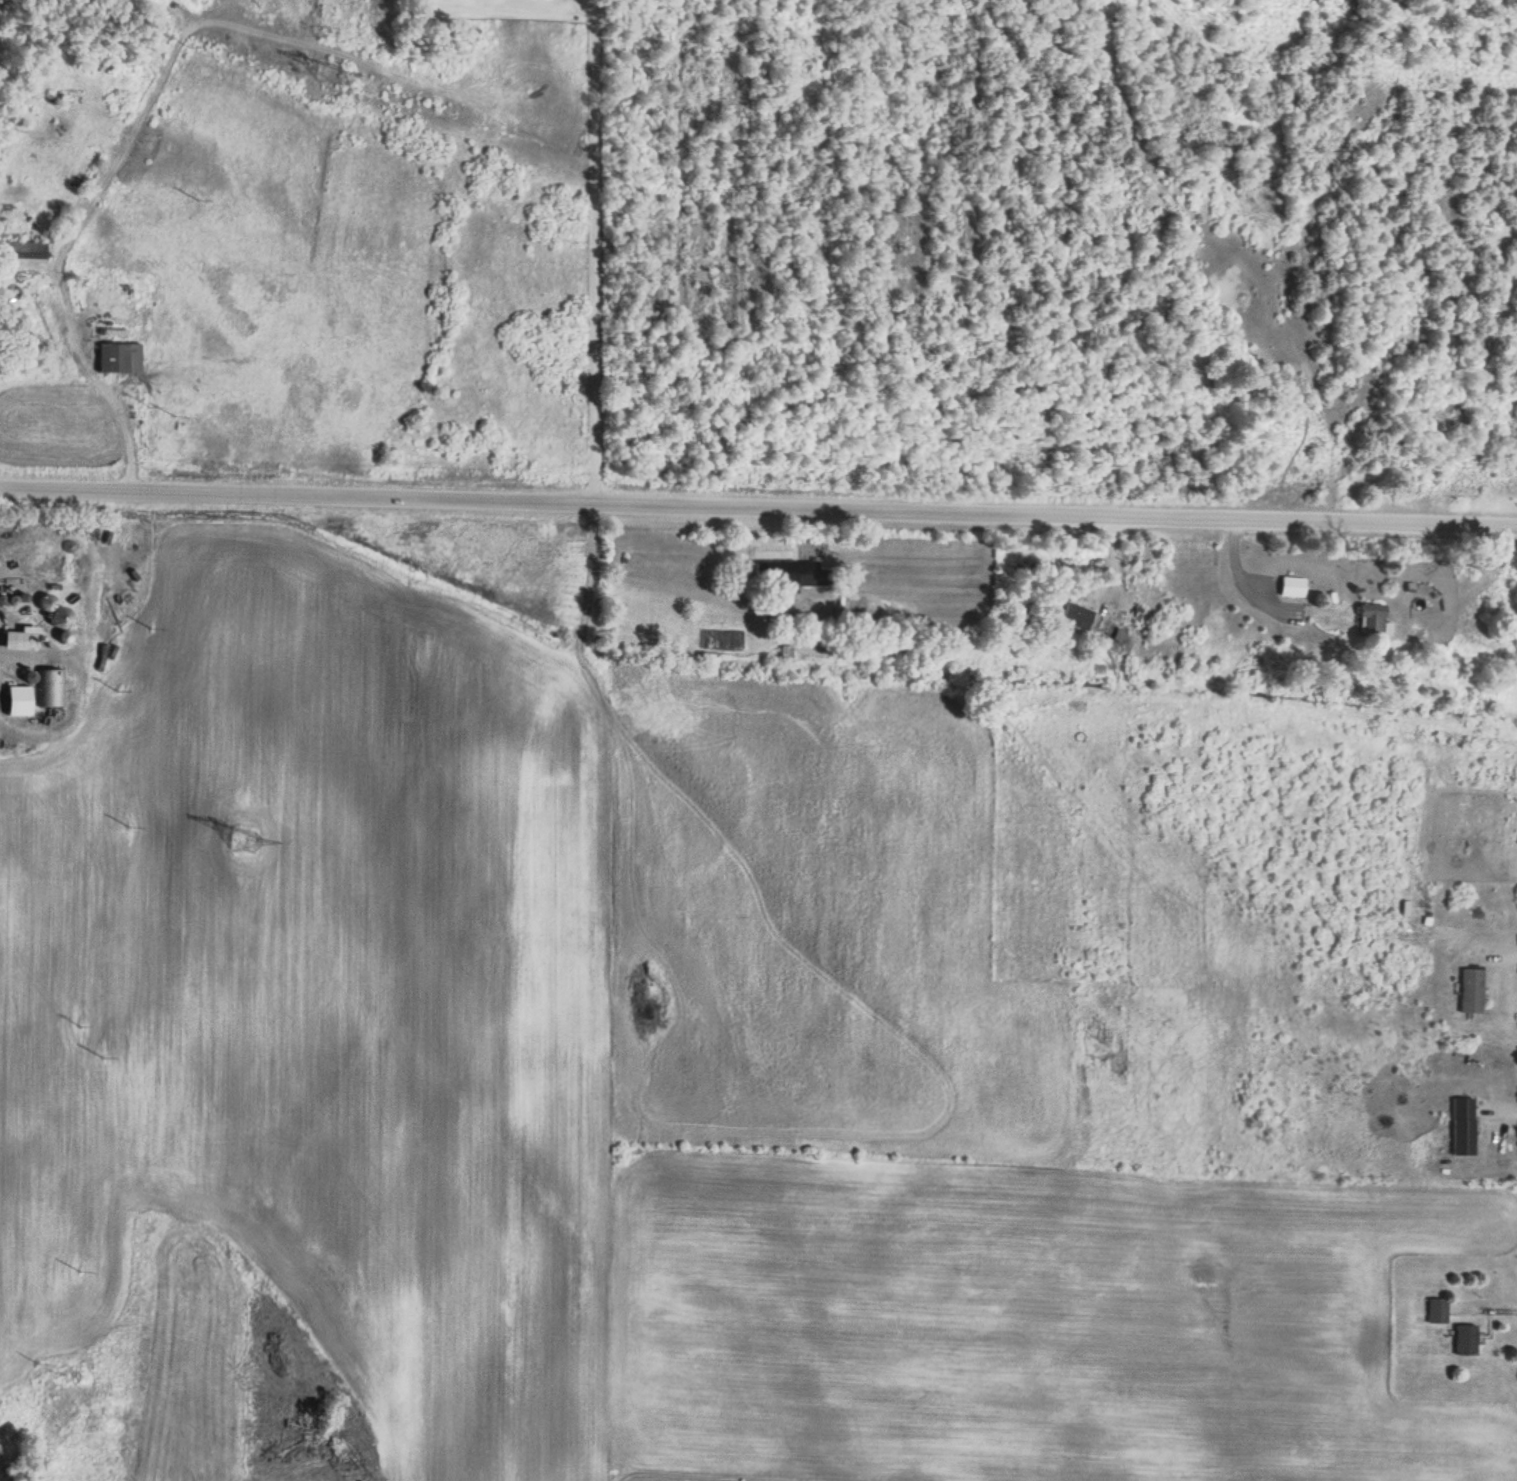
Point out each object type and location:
power tower: (330, 71)
building: (121, 358)
road: (758, 507)
building: (798, 575)
building: (1290, 587)
building: (12, 600)
building: (47, 604)
building: (1076, 617)
building: (63, 619)
building: (23, 642)
building: (51, 696)
power tower: (243, 840)
building: (1472, 991)
building: (1462, 1127)
building: (1437, 1310)
building: (1466, 1339)

